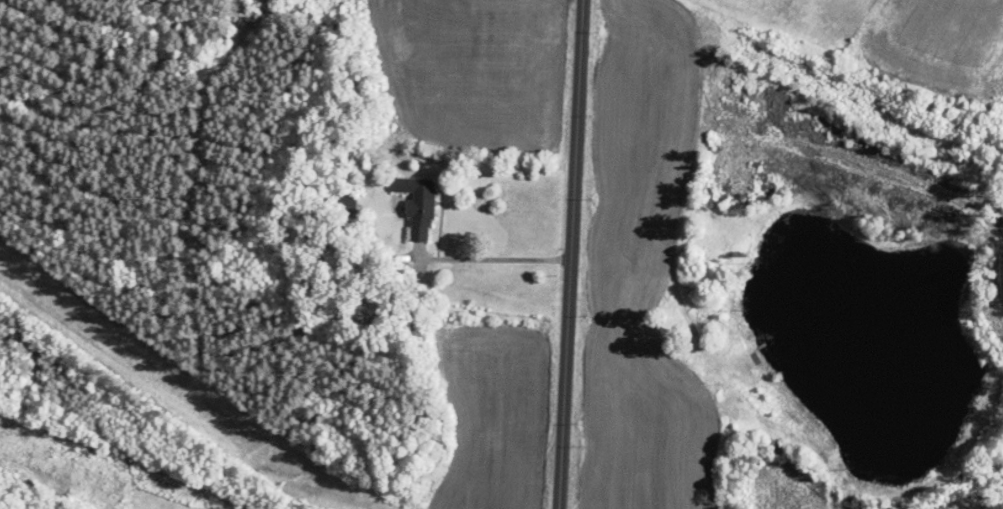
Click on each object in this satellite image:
building: (419, 205)
road: (570, 254)
road: (491, 258)

